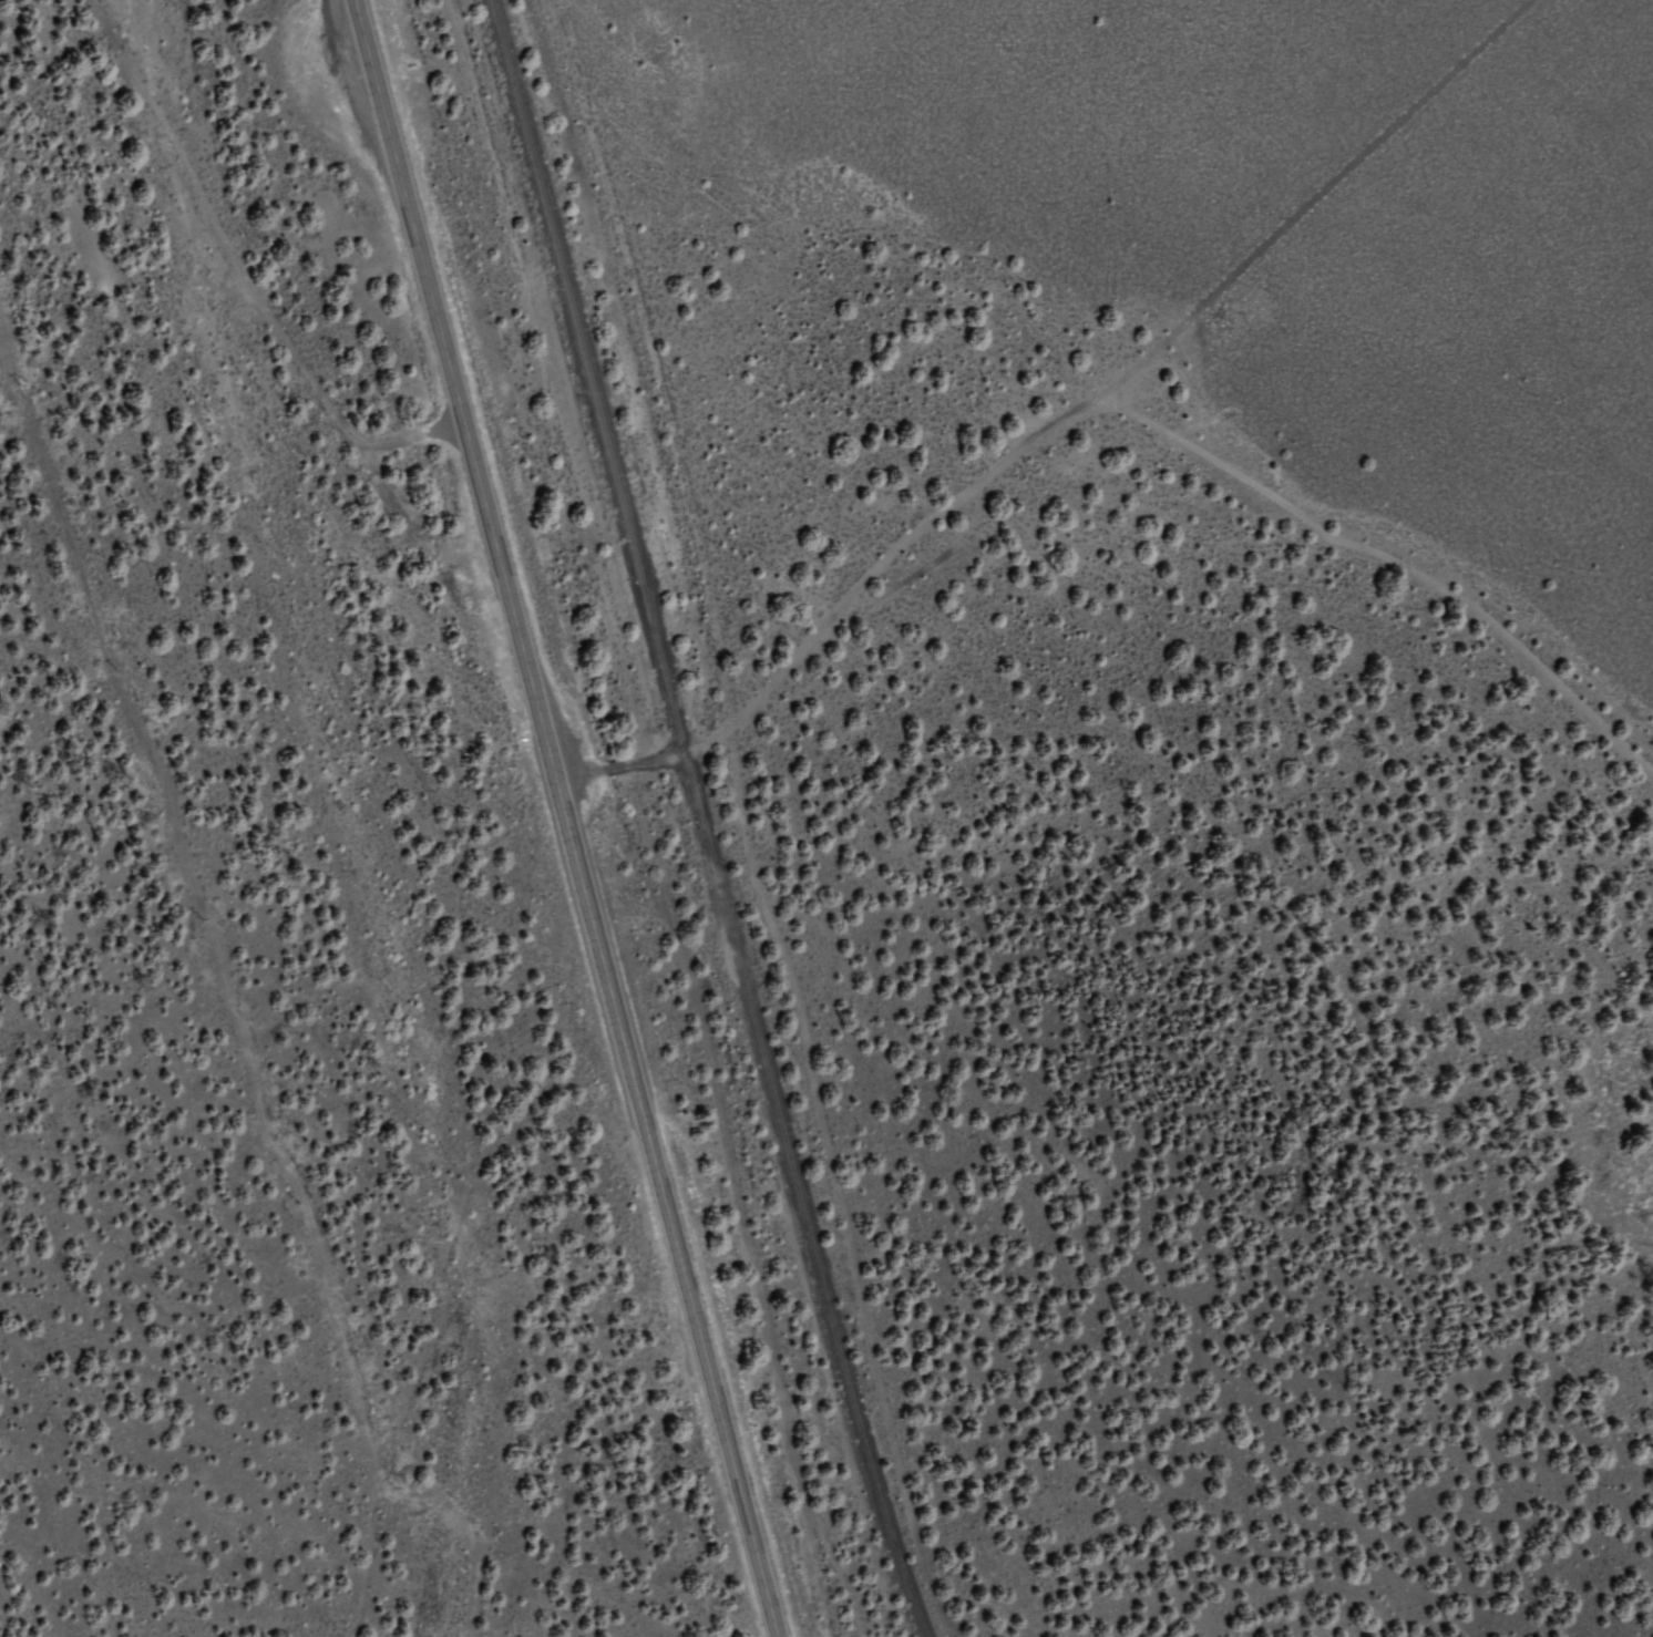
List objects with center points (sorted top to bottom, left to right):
road: (1315, 195)
road: (245, 274)
road: (1392, 557)
road: (835, 607)
road: (565, 819)

